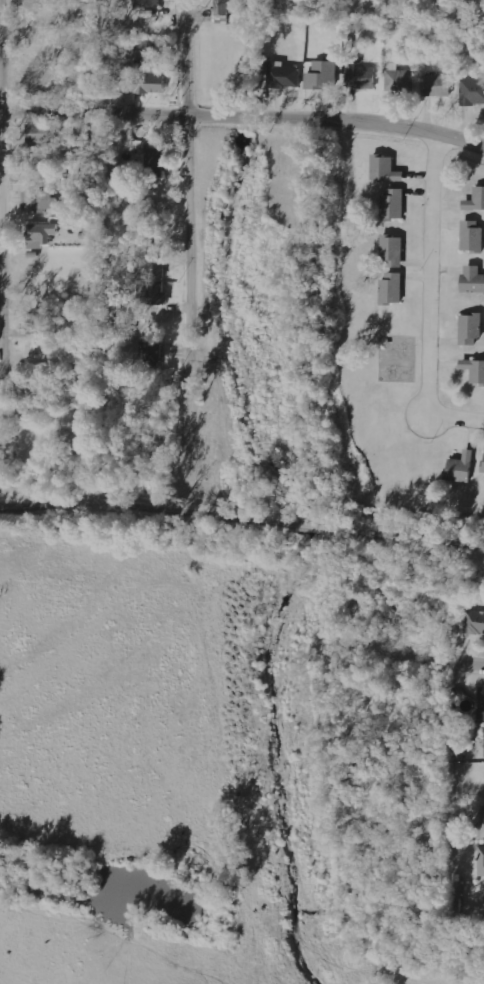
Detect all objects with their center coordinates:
building: (147, 3)
building: (147, 50)
road: (0, 54)
building: (323, 75)
building: (285, 77)
building: (362, 78)
building: (399, 80)
building: (147, 83)
building: (437, 85)
building: (472, 91)
road: (243, 119)
building: (41, 133)
building: (36, 161)
building: (155, 162)
building: (386, 168)
building: (476, 199)
building: (40, 200)
road: (186, 201)
building: (394, 203)
building: (43, 234)
building: (473, 235)
building: (393, 251)
building: (150, 268)
building: (473, 279)
building: (393, 288)
building: (151, 293)
road: (427, 303)
building: (38, 323)
building: (472, 329)
building: (152, 354)
building: (475, 370)
building: (463, 467)
road: (146, 507)
park: (258, 524)
road: (308, 526)
road: (404, 536)
building: (475, 622)
road: (468, 666)
building: (481, 703)
building: (480, 827)
building: (481, 860)

